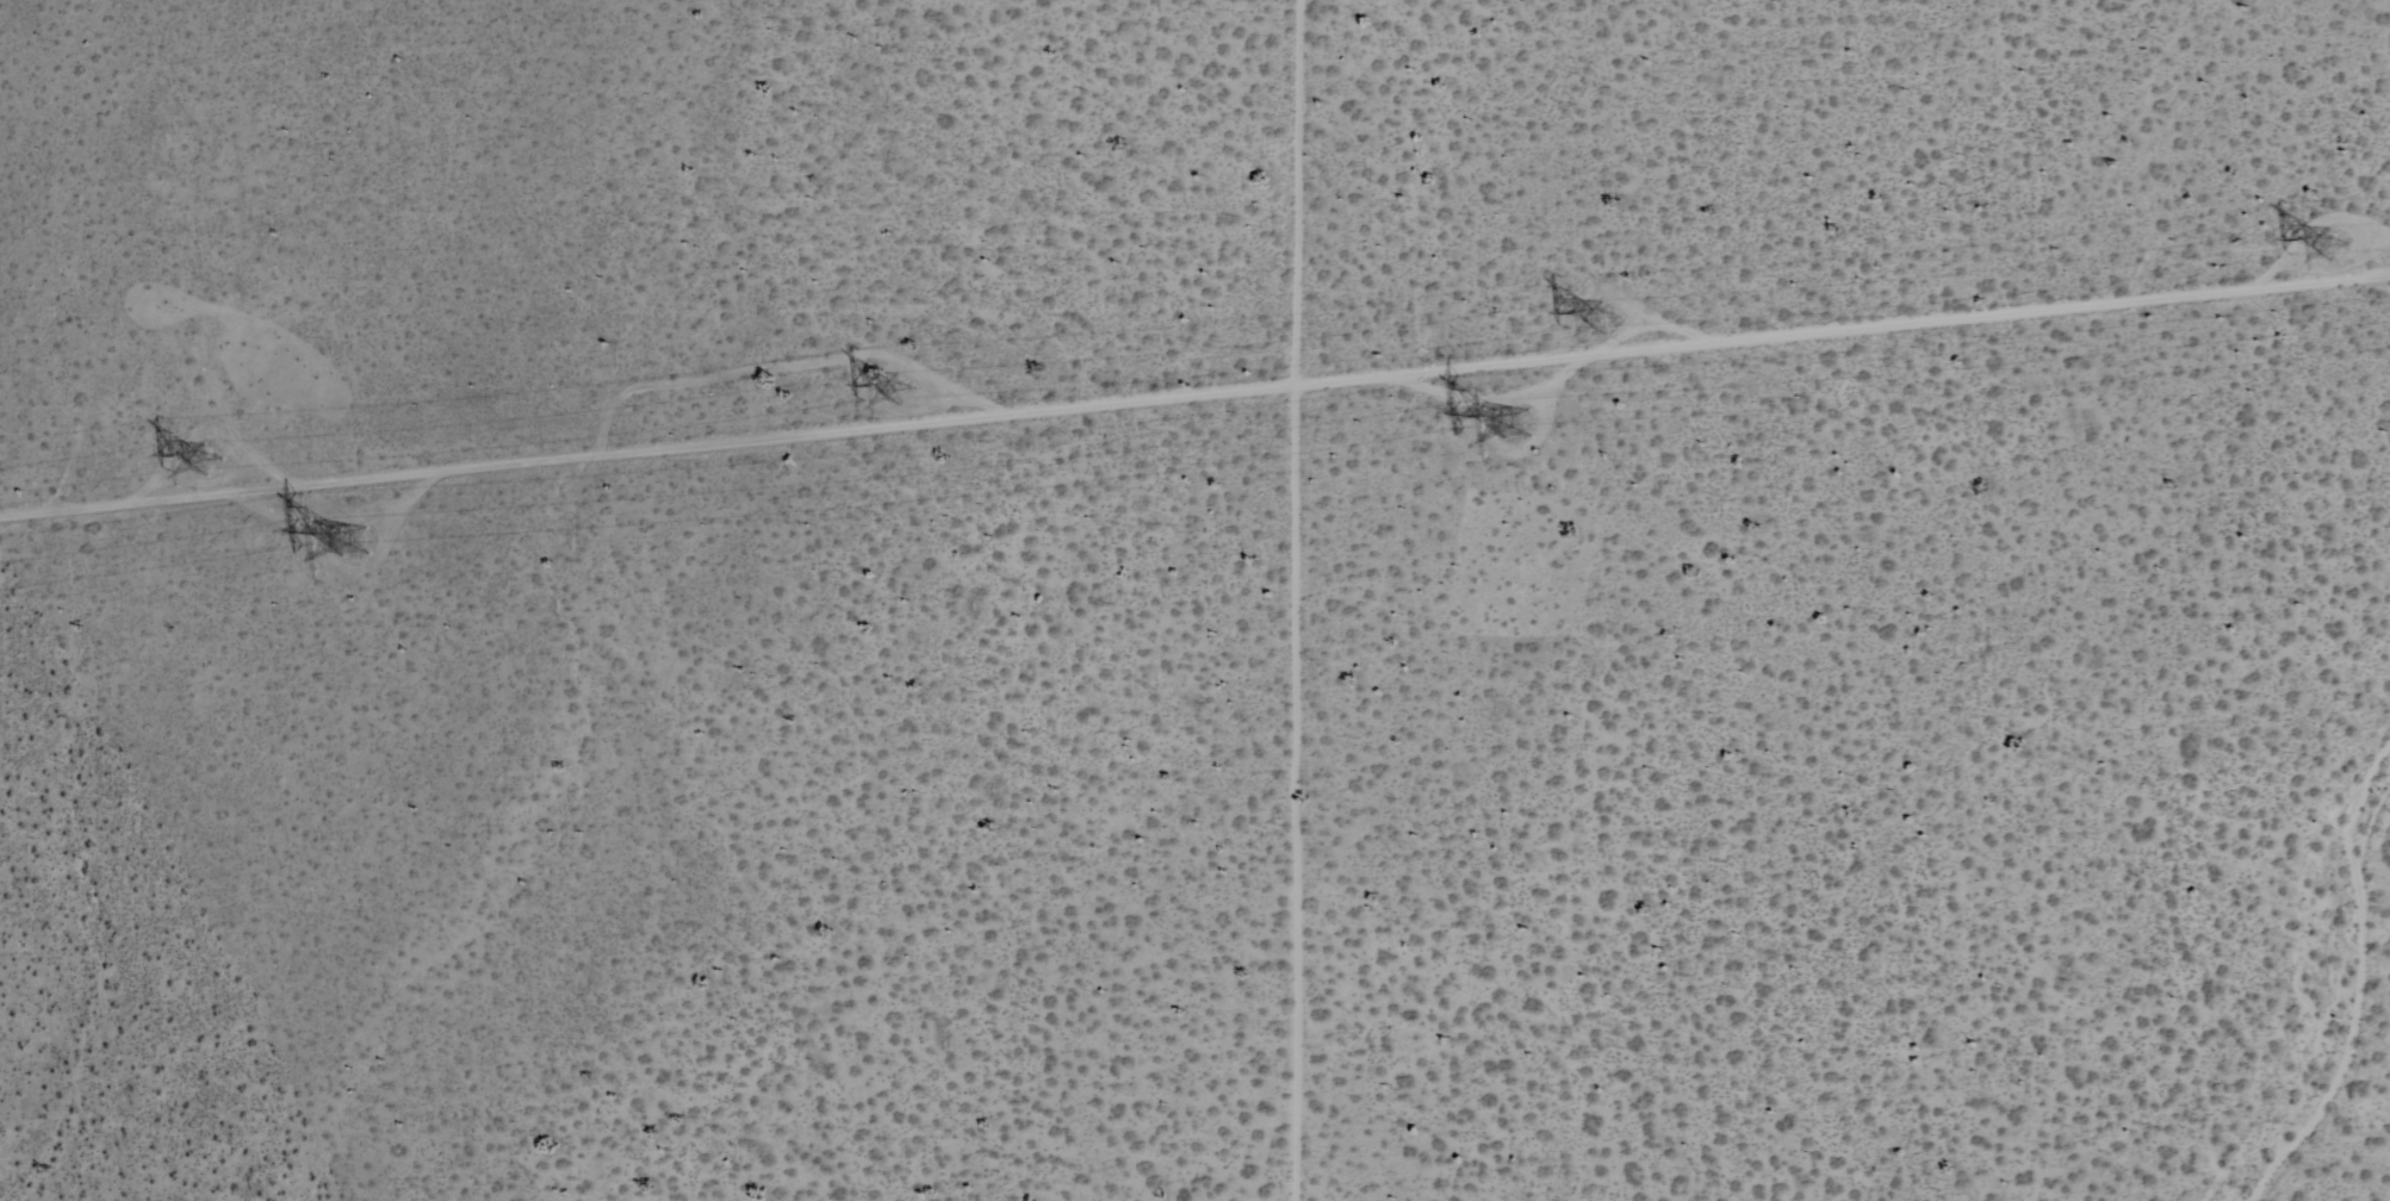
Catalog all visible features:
power tower: (2334, 255)
power tower: (1600, 326)
road: (1194, 393)
power tower: (857, 398)
power tower: (1501, 422)
power tower: (198, 460)
power tower: (328, 528)
road: (1292, 599)

